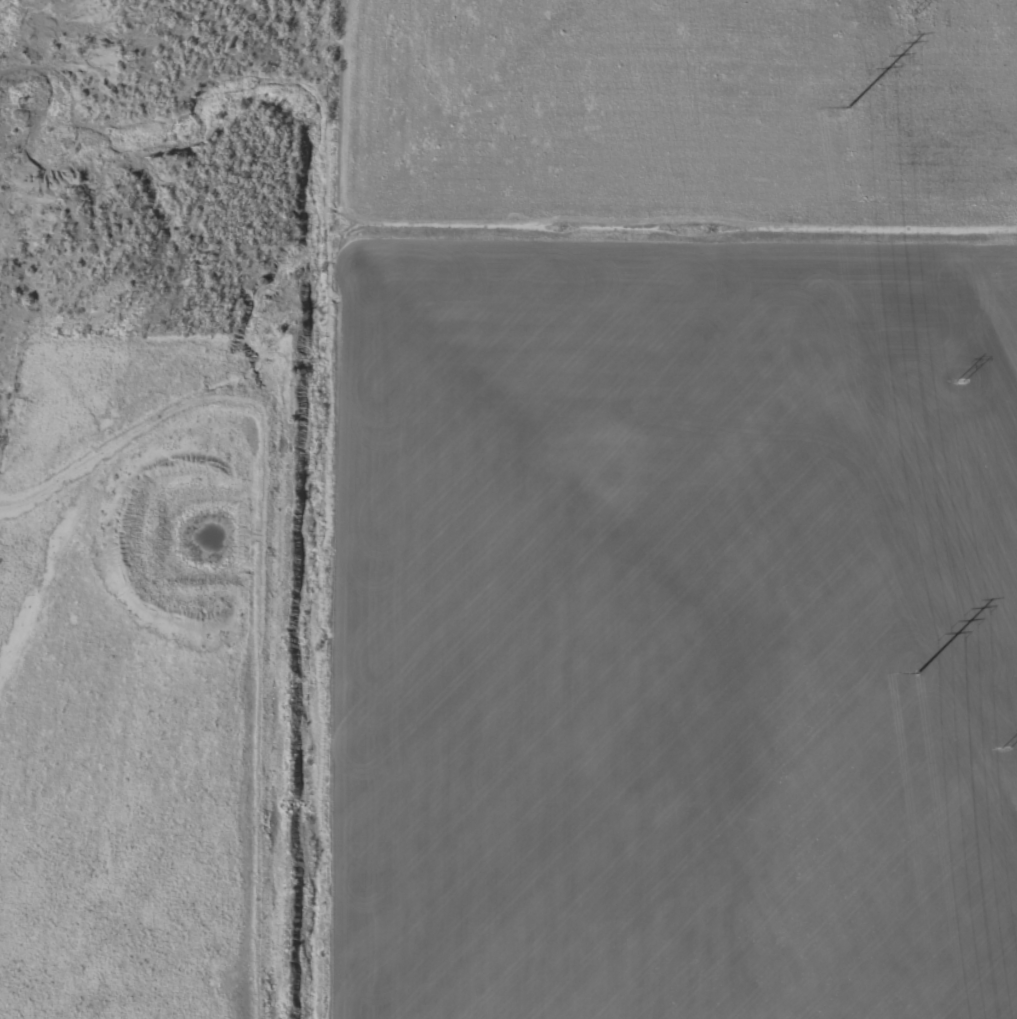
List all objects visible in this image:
power tower: (917, 15)
power tower: (849, 107)
power tower: (960, 382)
power tower: (918, 672)
power tower: (1005, 750)

